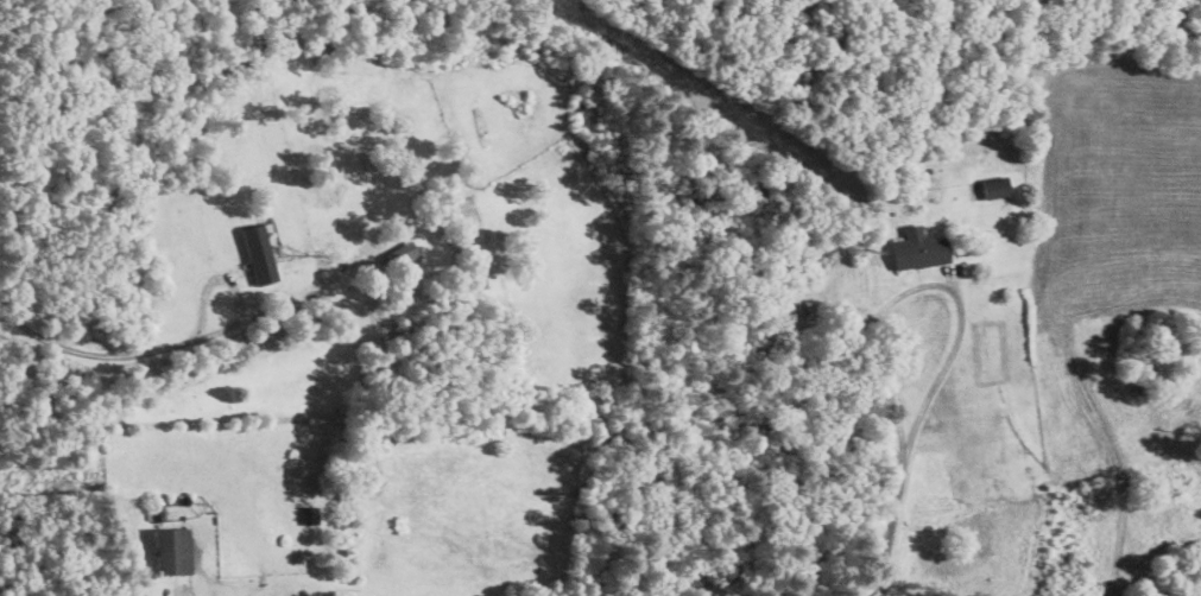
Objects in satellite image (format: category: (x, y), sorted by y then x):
building: (995, 188)
building: (921, 249)
building: (260, 255)
building: (400, 255)
road: (232, 281)
road: (925, 287)
road: (89, 353)
road: (890, 525)
building: (173, 552)

